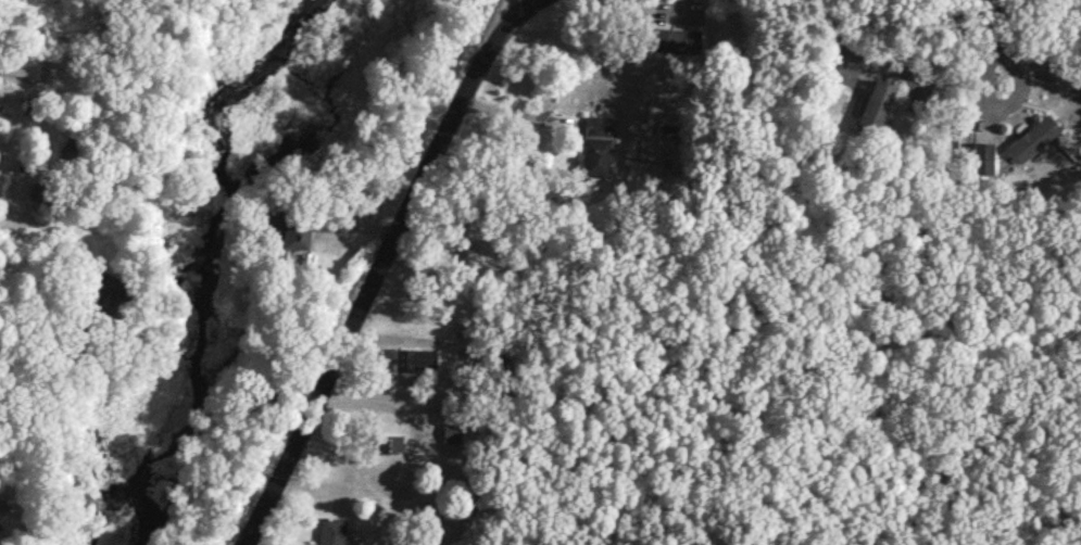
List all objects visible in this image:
road: (516, 8)
road: (991, 24)
road: (468, 39)
building: (677, 39)
road: (847, 56)
building: (18, 63)
building: (900, 97)
road: (1005, 105)
building: (875, 106)
building: (1032, 137)
building: (596, 145)
building: (982, 157)
building: (41, 191)
road: (3, 218)
building: (302, 230)
road: (377, 265)
road: (452, 343)
building: (413, 358)
building: (451, 432)
road: (412, 442)
building: (388, 443)
park: (152, 510)
building: (330, 530)
building: (318, 544)

